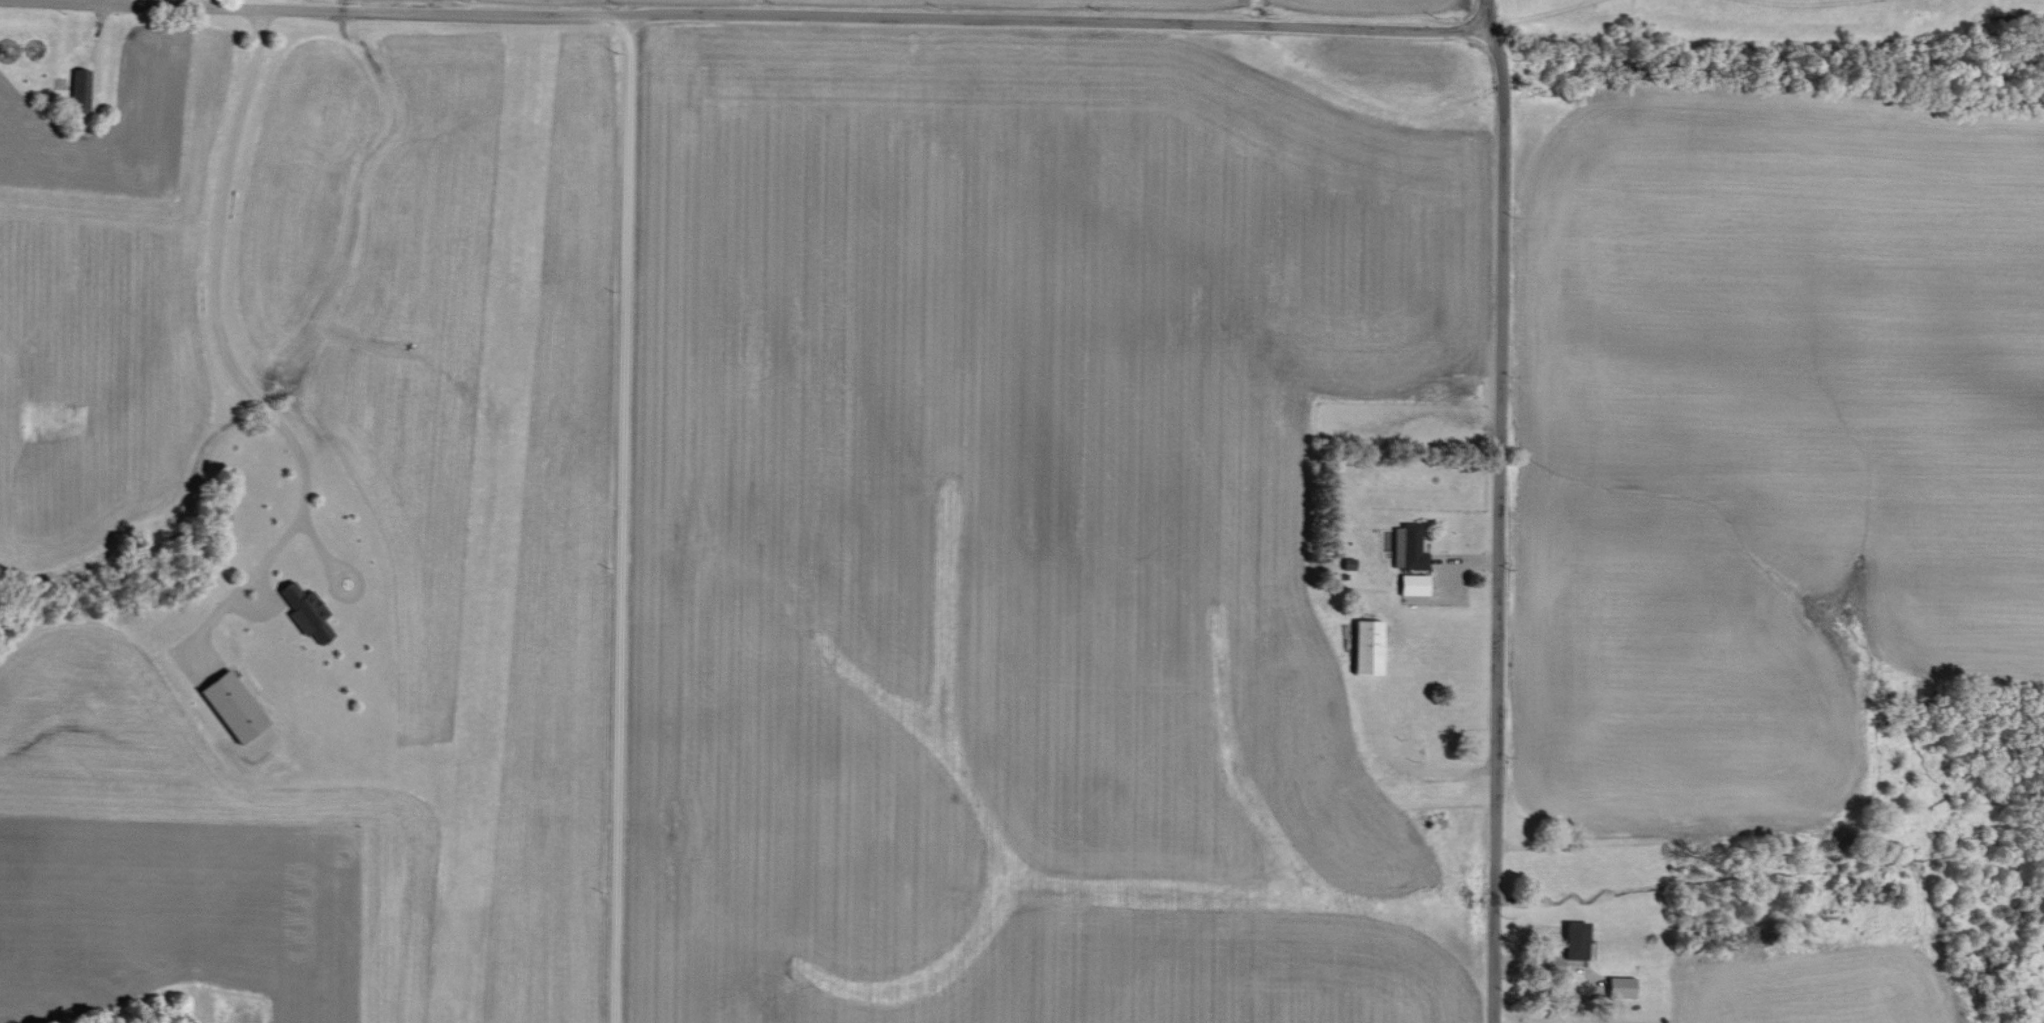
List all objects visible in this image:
road: (208, 4)
road: (738, 13)
building: (80, 88)
road: (213, 325)
road: (1497, 507)
road: (607, 517)
airport runway: (490, 530)
building: (1405, 547)
building: (1409, 584)
building: (301, 611)
building: (1362, 646)
building: (227, 705)
building: (1573, 940)
building: (1618, 987)

